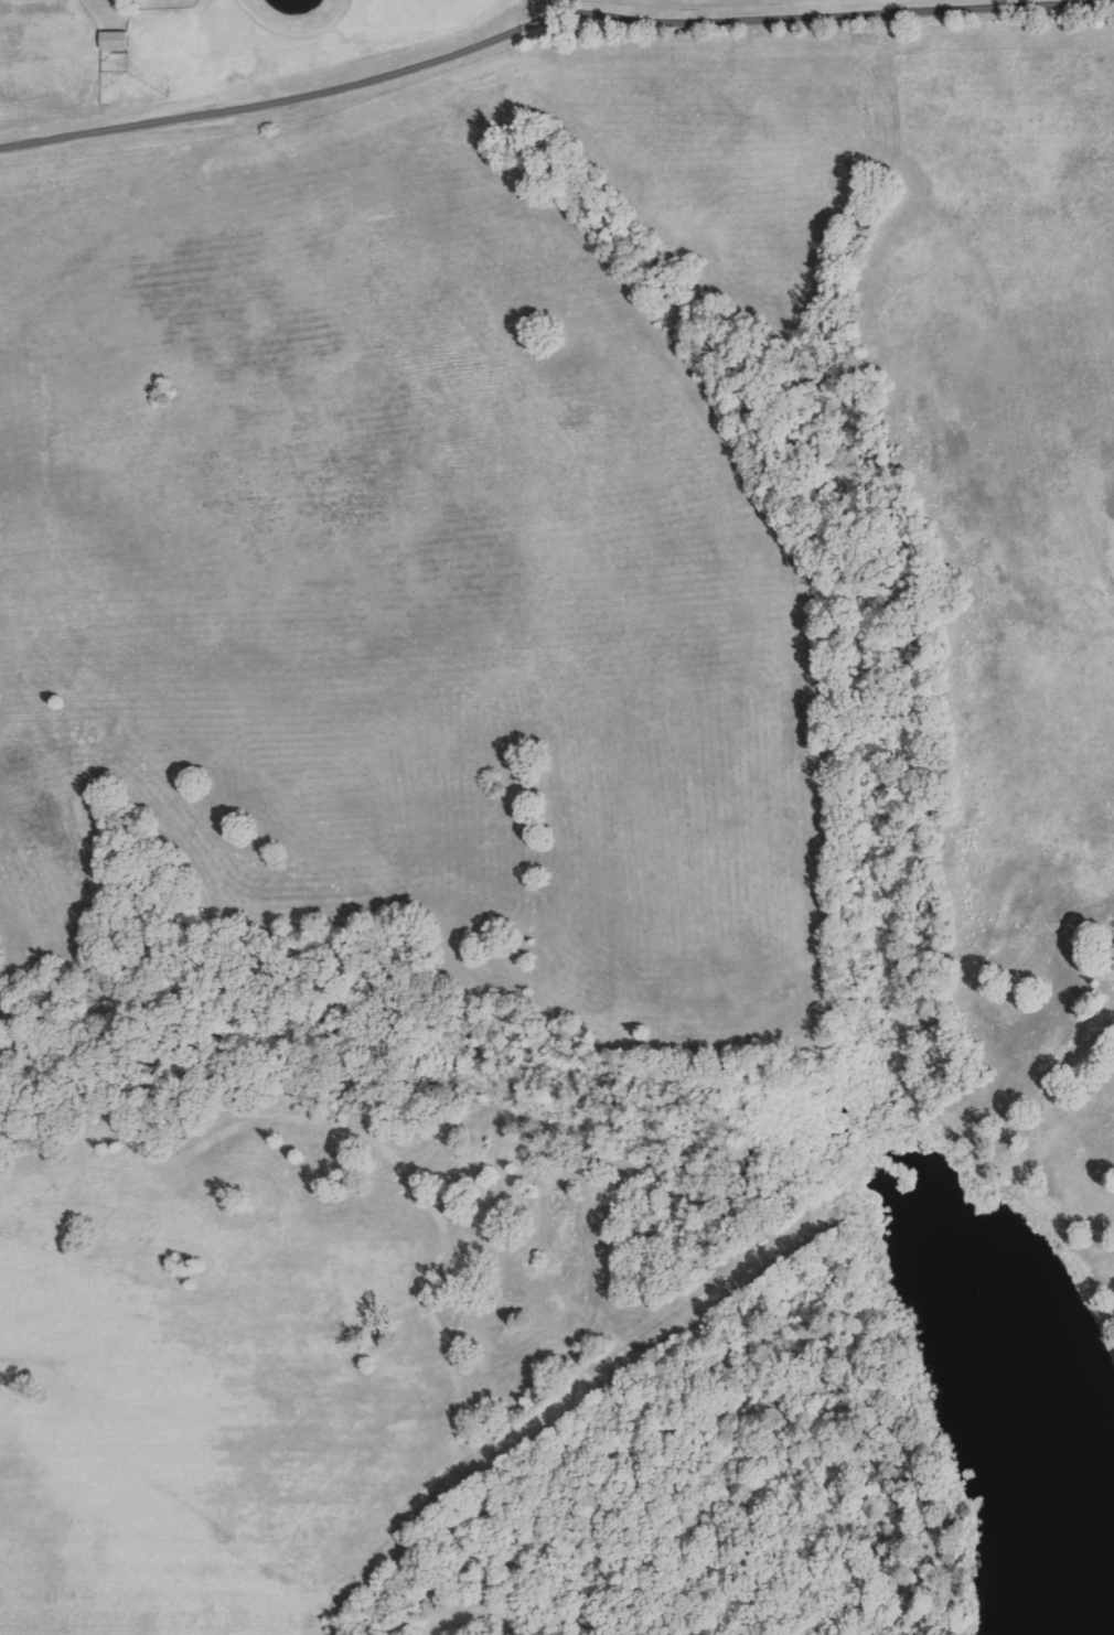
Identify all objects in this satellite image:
road: (547, 14)
building: (117, 41)

